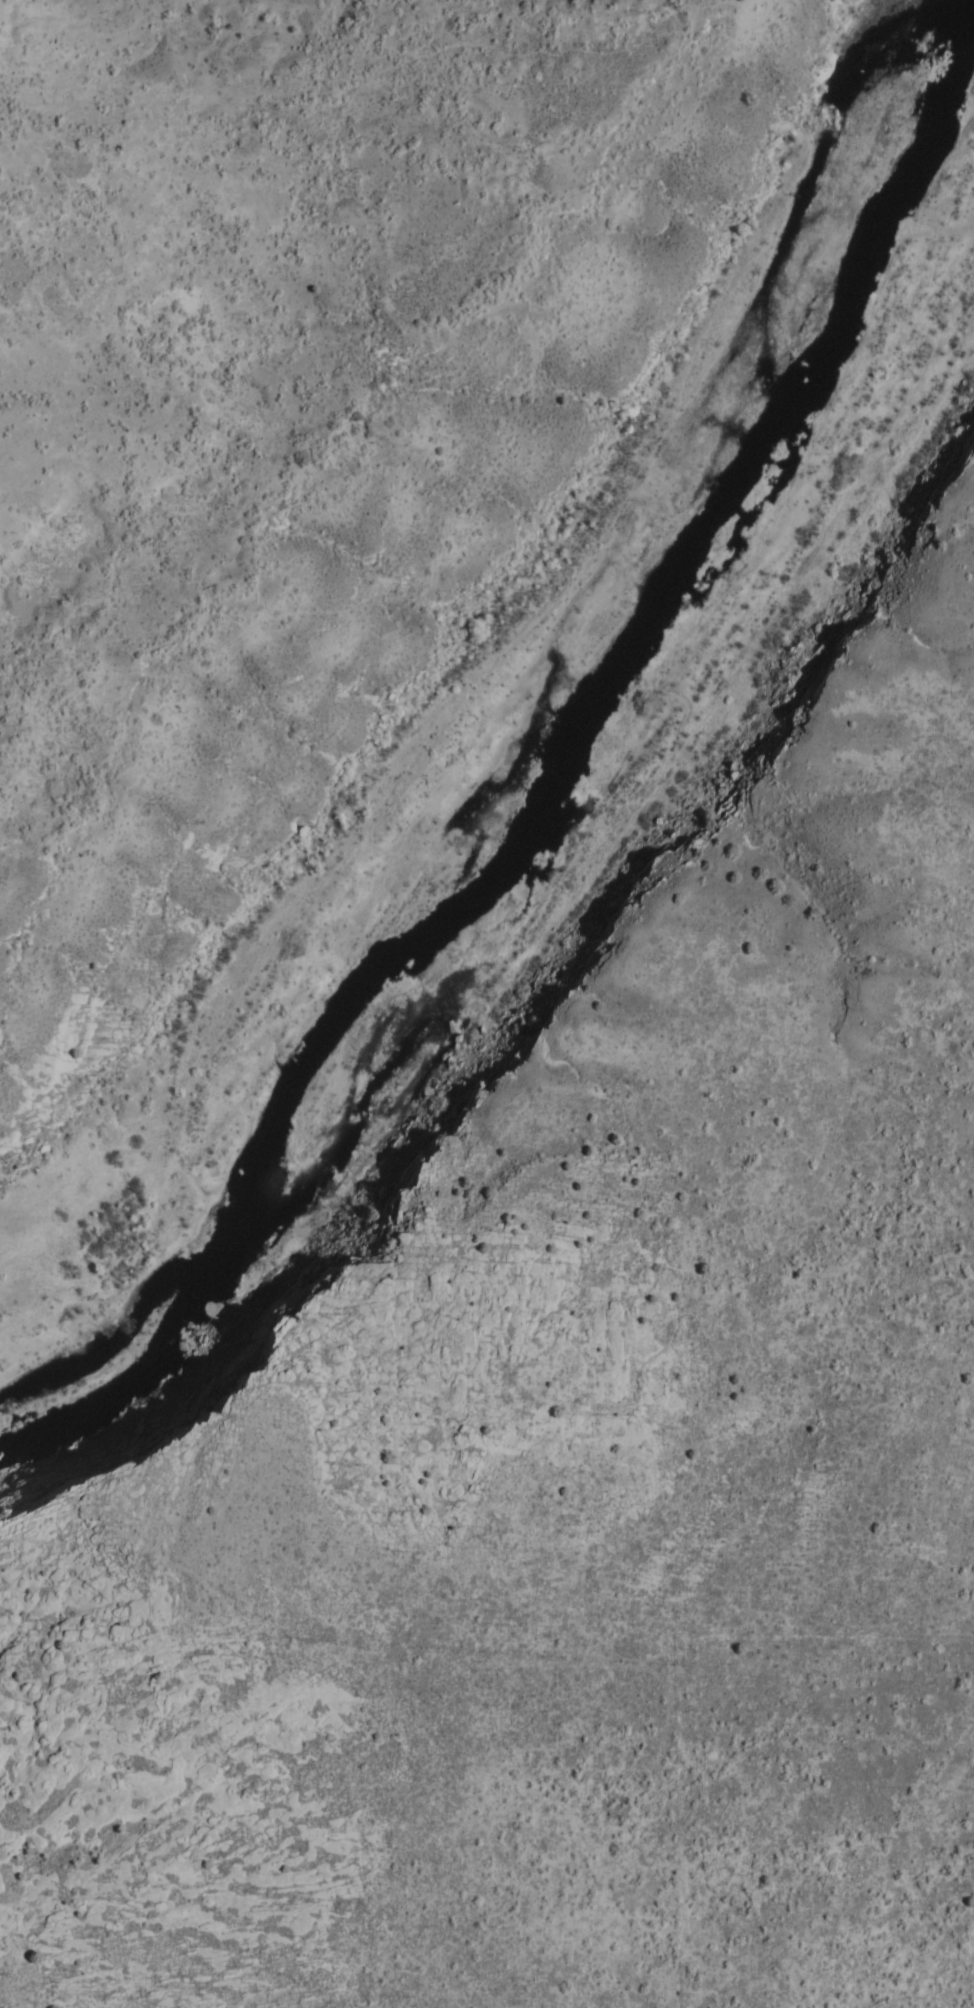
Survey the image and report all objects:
river: (542, 800)

